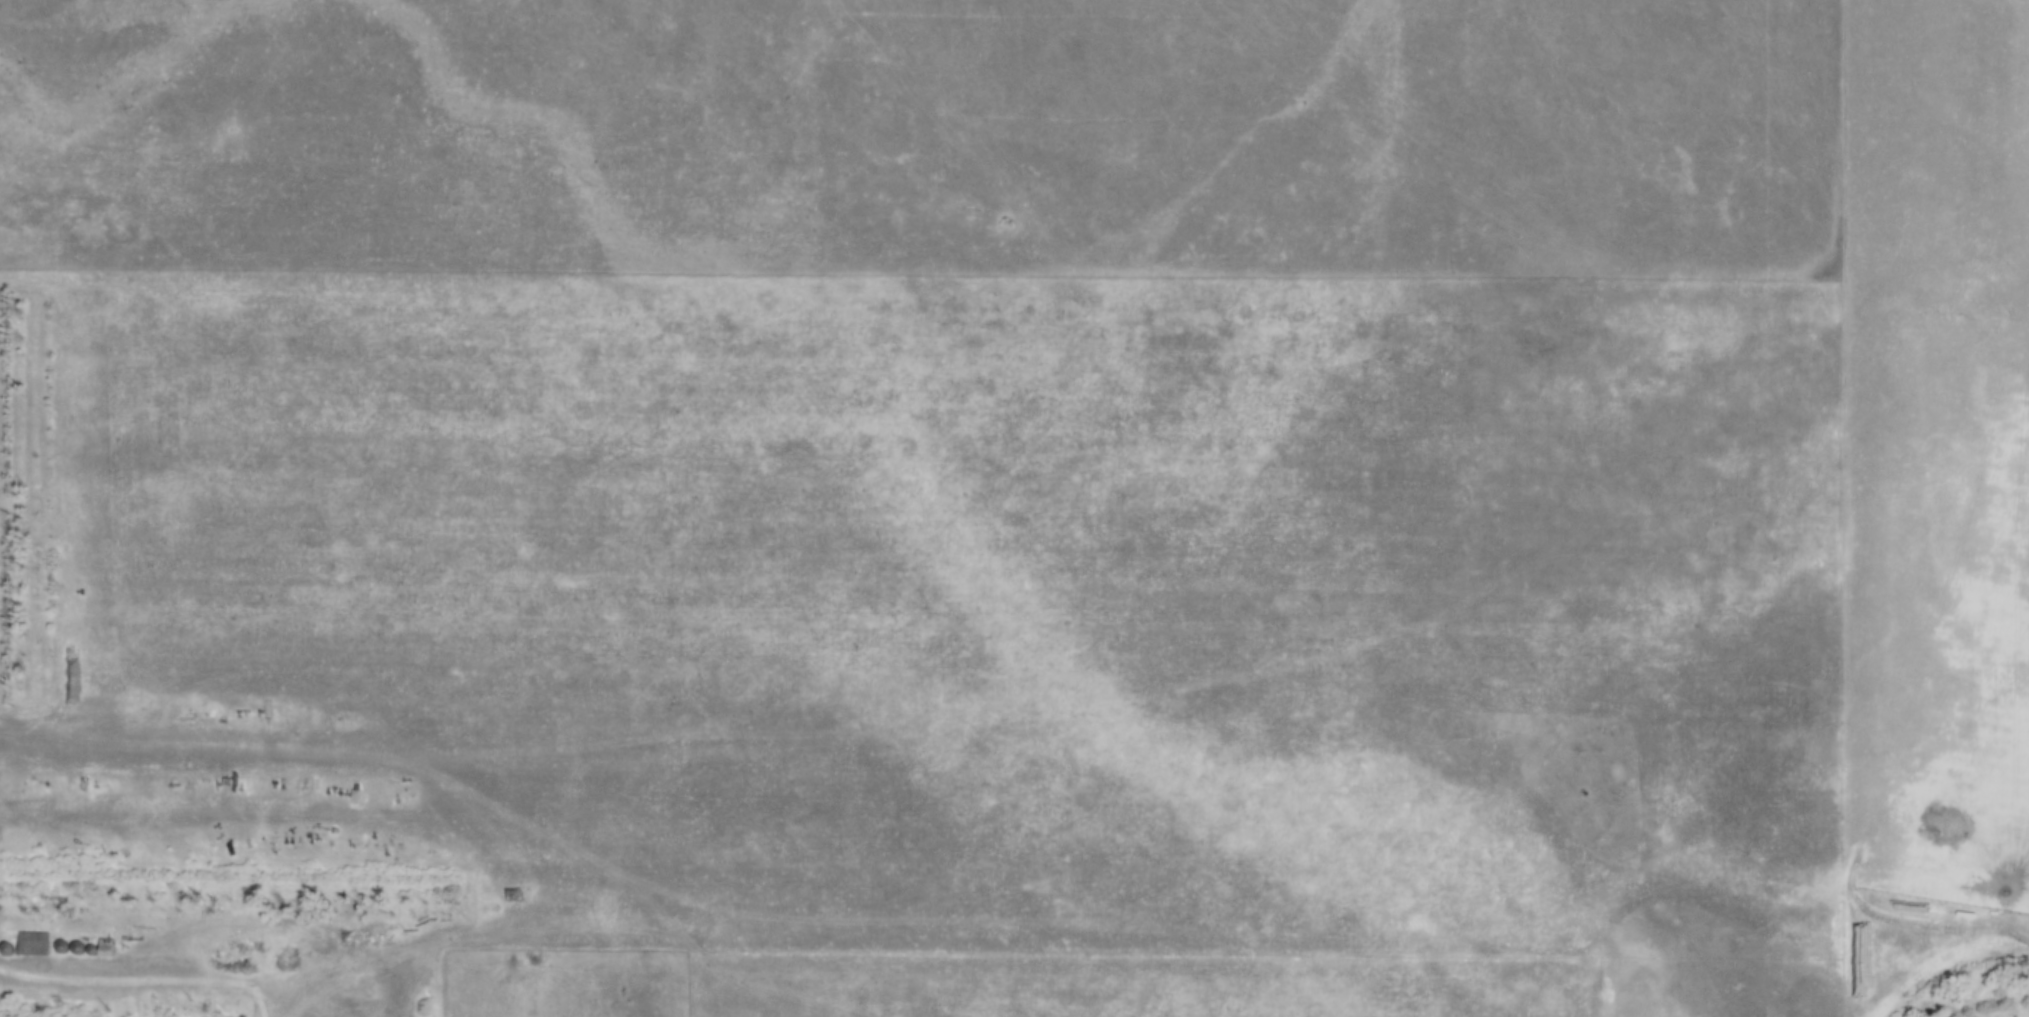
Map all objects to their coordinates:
building: (33, 942)
road: (143, 981)

